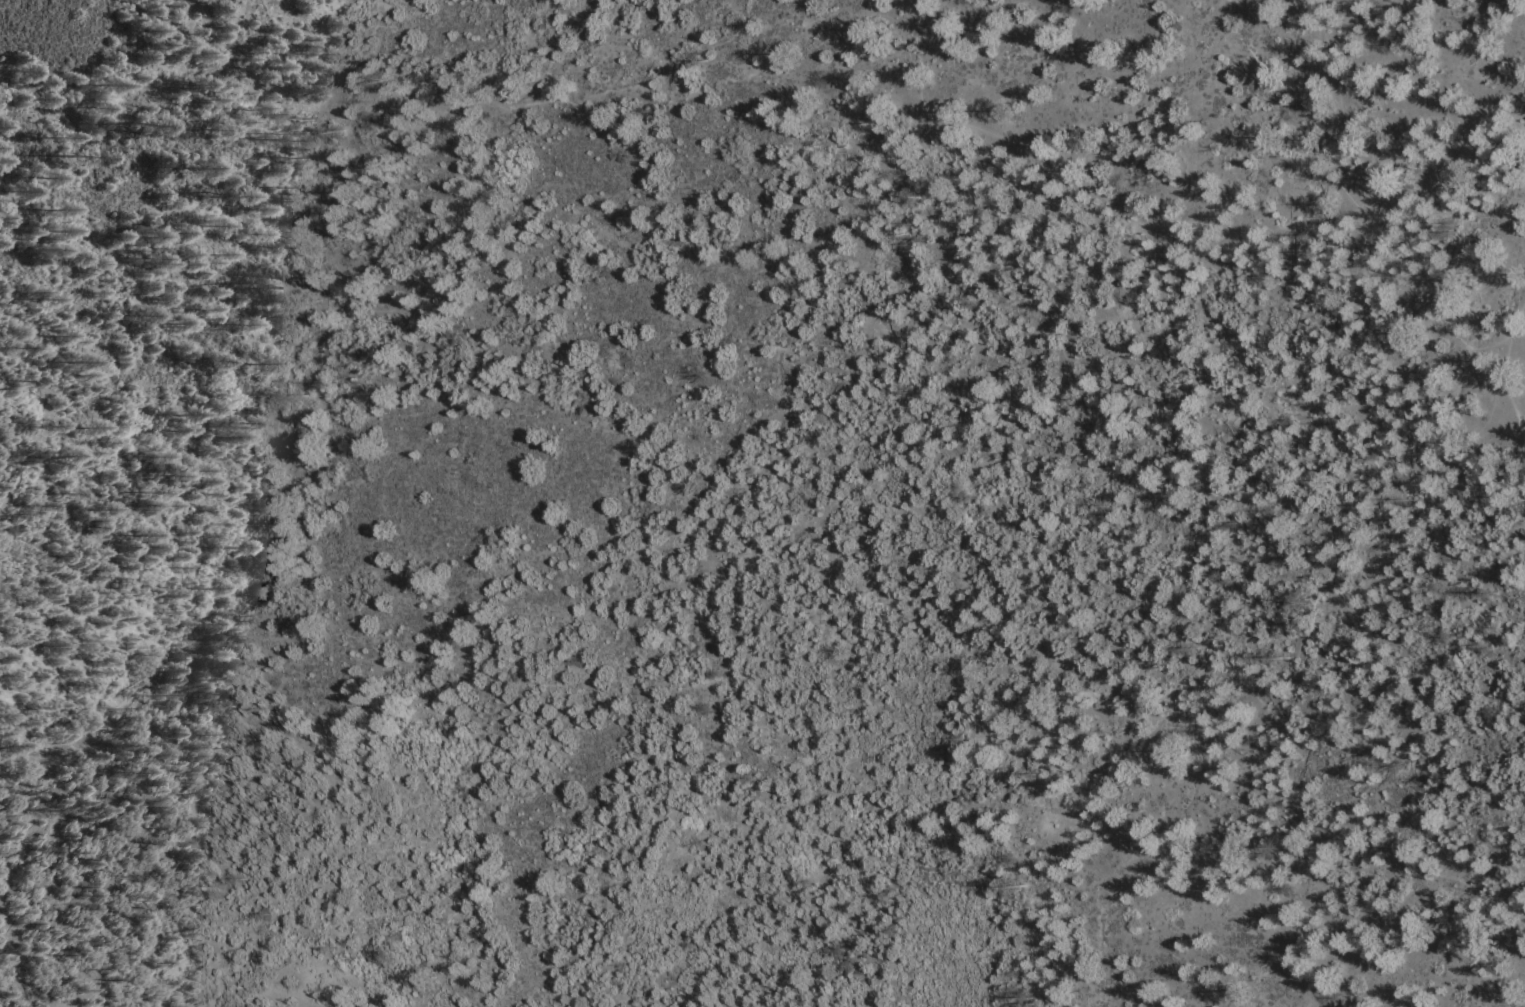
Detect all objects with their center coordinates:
road: (1371, 226)

